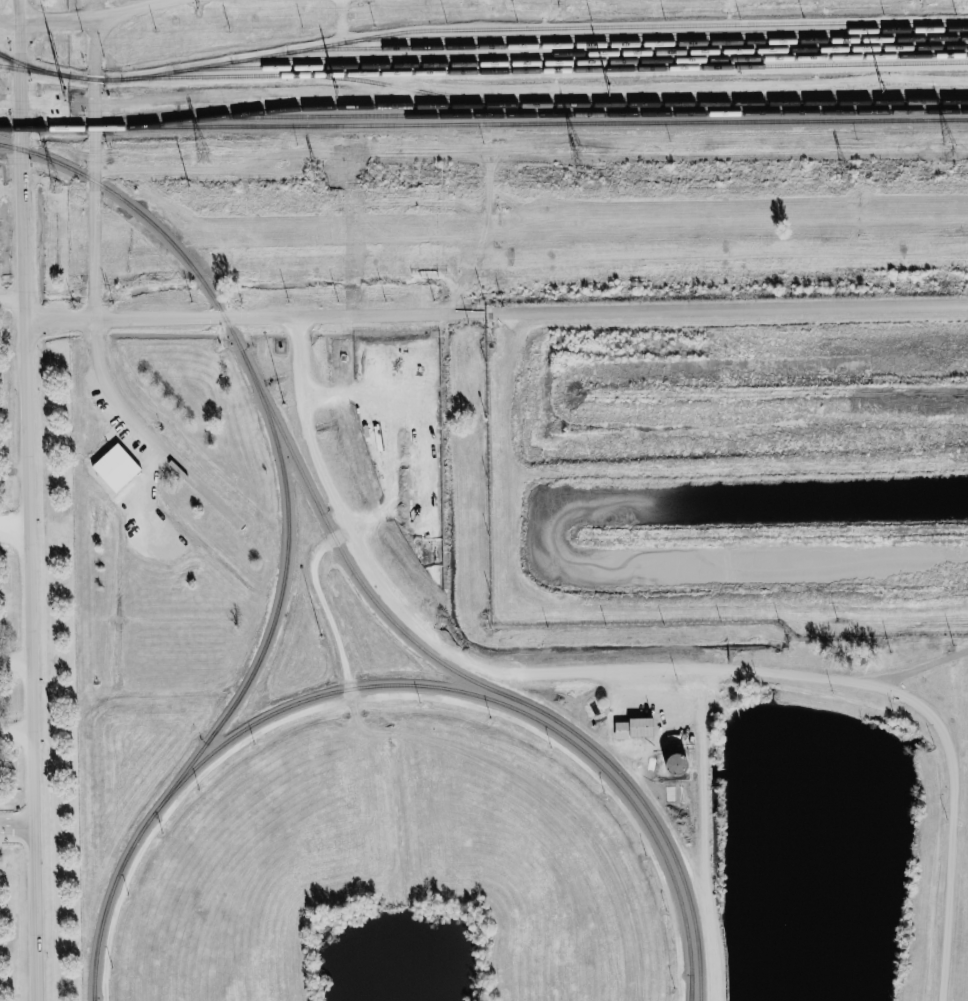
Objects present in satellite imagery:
power tower: (921, 1)
power tower: (559, 8)
power tower: (198, 13)
road: (64, 19)
railway: (542, 27)
railway: (656, 33)
railway: (627, 43)
railway: (599, 52)
railway: (570, 61)
road: (20, 63)
railway: (33, 66)
railway: (483, 70)
railway: (414, 89)
power tower: (881, 92)
power tower: (611, 95)
power tower: (337, 97)
railway: (541, 105)
railway: (574, 113)
railway: (483, 122)
power tower: (945, 149)
power tower: (570, 154)
power tower: (193, 156)
power tower: (849, 180)
power tower: (580, 181)
power tower: (318, 184)
power tower: (53, 185)
road: (94, 262)
road: (12, 295)
road: (495, 311)
wastewater plant: (729, 461)
road: (14, 526)
road: (28, 564)
railway: (355, 575)
railway: (280, 596)
road: (325, 607)
road: (647, 669)
road: (914, 670)
railway: (494, 700)
building: (635, 728)
road: (16, 735)
road: (560, 785)
road: (17, 823)
road: (706, 834)
railway: (107, 902)
railway: (690, 987)
railway: (93, 999)

